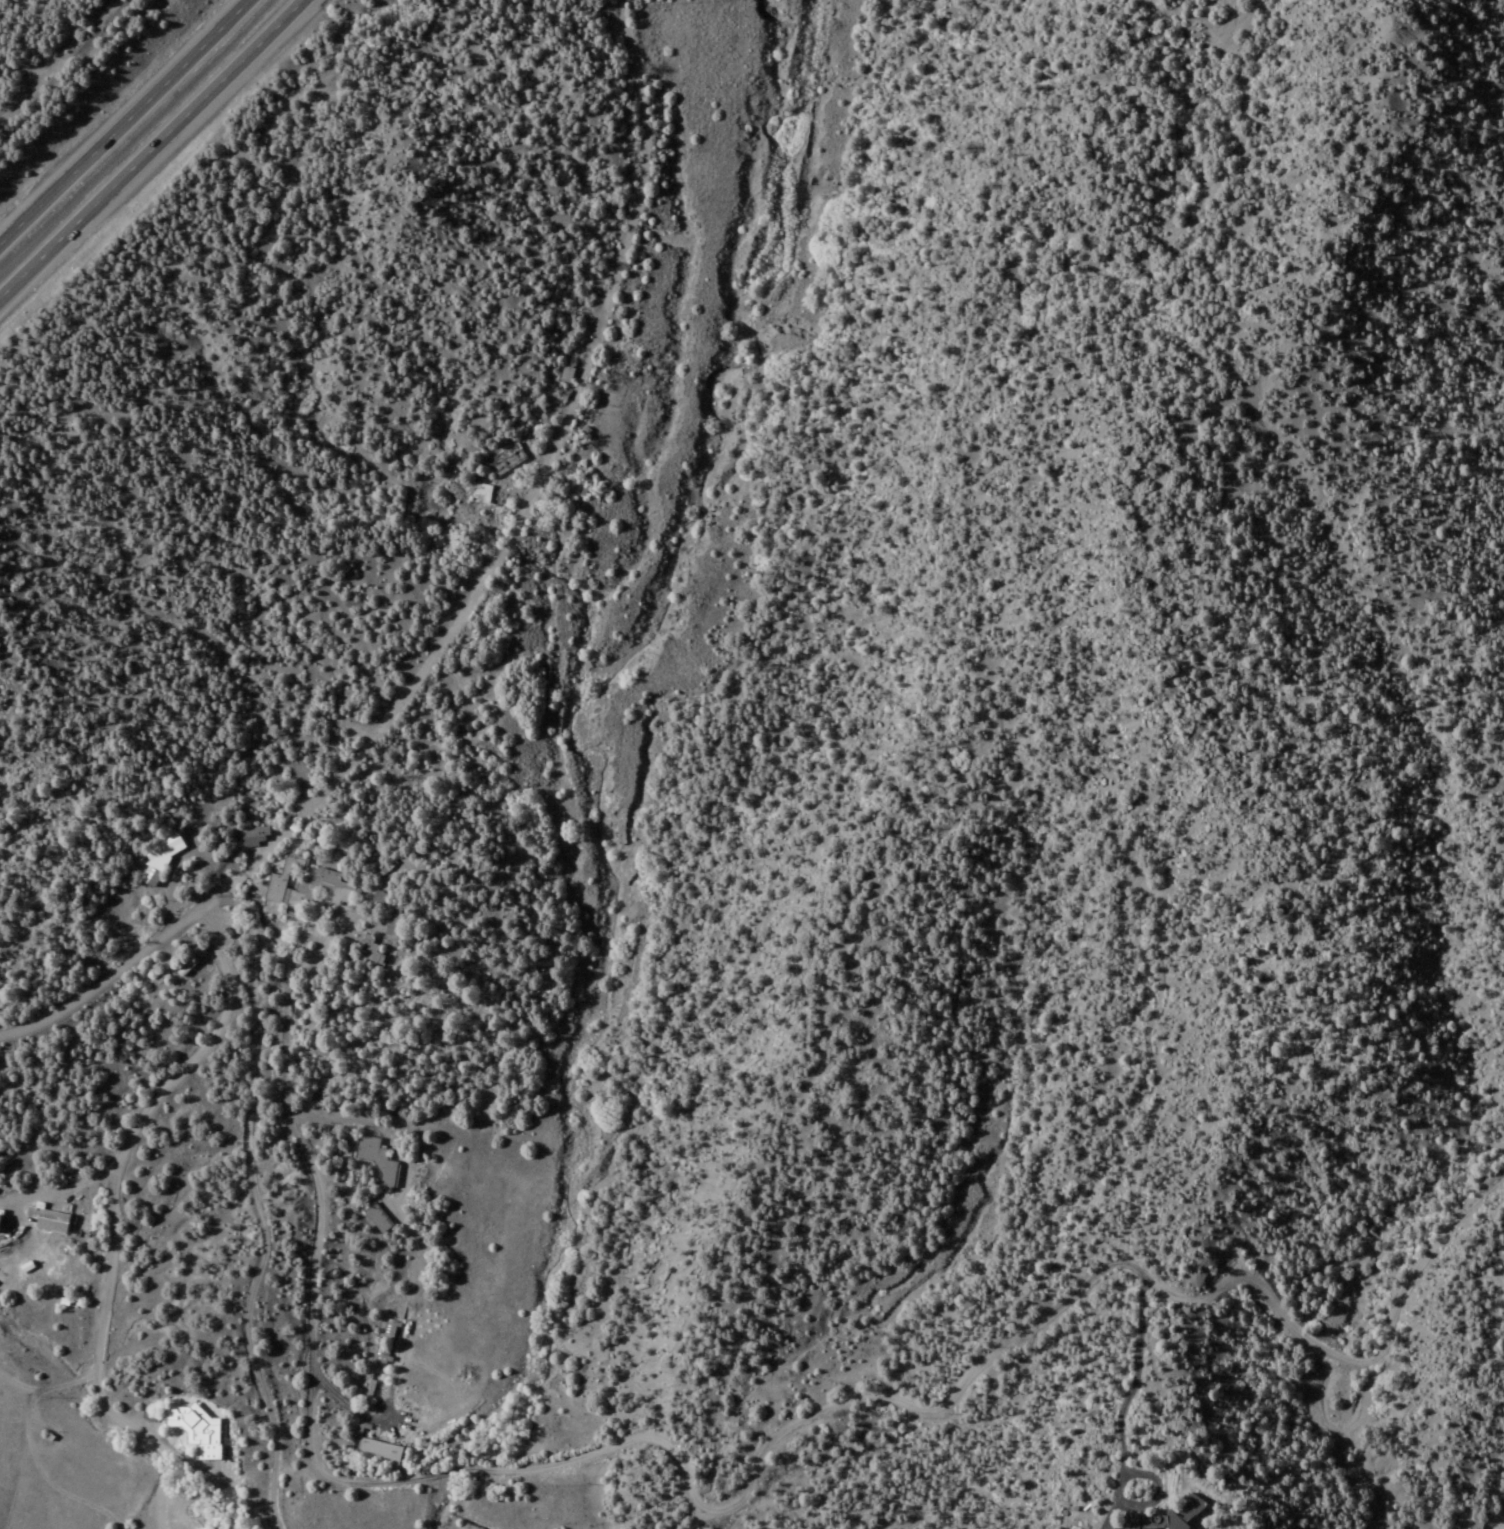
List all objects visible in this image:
road: (129, 125)
road: (151, 152)
building: (505, 460)
building: (480, 493)
road: (461, 600)
building: (254, 836)
building: (162, 847)
building: (149, 877)
building: (306, 884)
building: (377, 899)
building: (367, 945)
building: (186, 967)
building: (377, 1160)
road: (104, 1178)
road: (54, 1191)
road: (1, 1202)
building: (52, 1216)
building: (376, 1218)
building: (389, 1328)
building: (195, 1430)
building: (378, 1451)
building: (1162, 1518)

